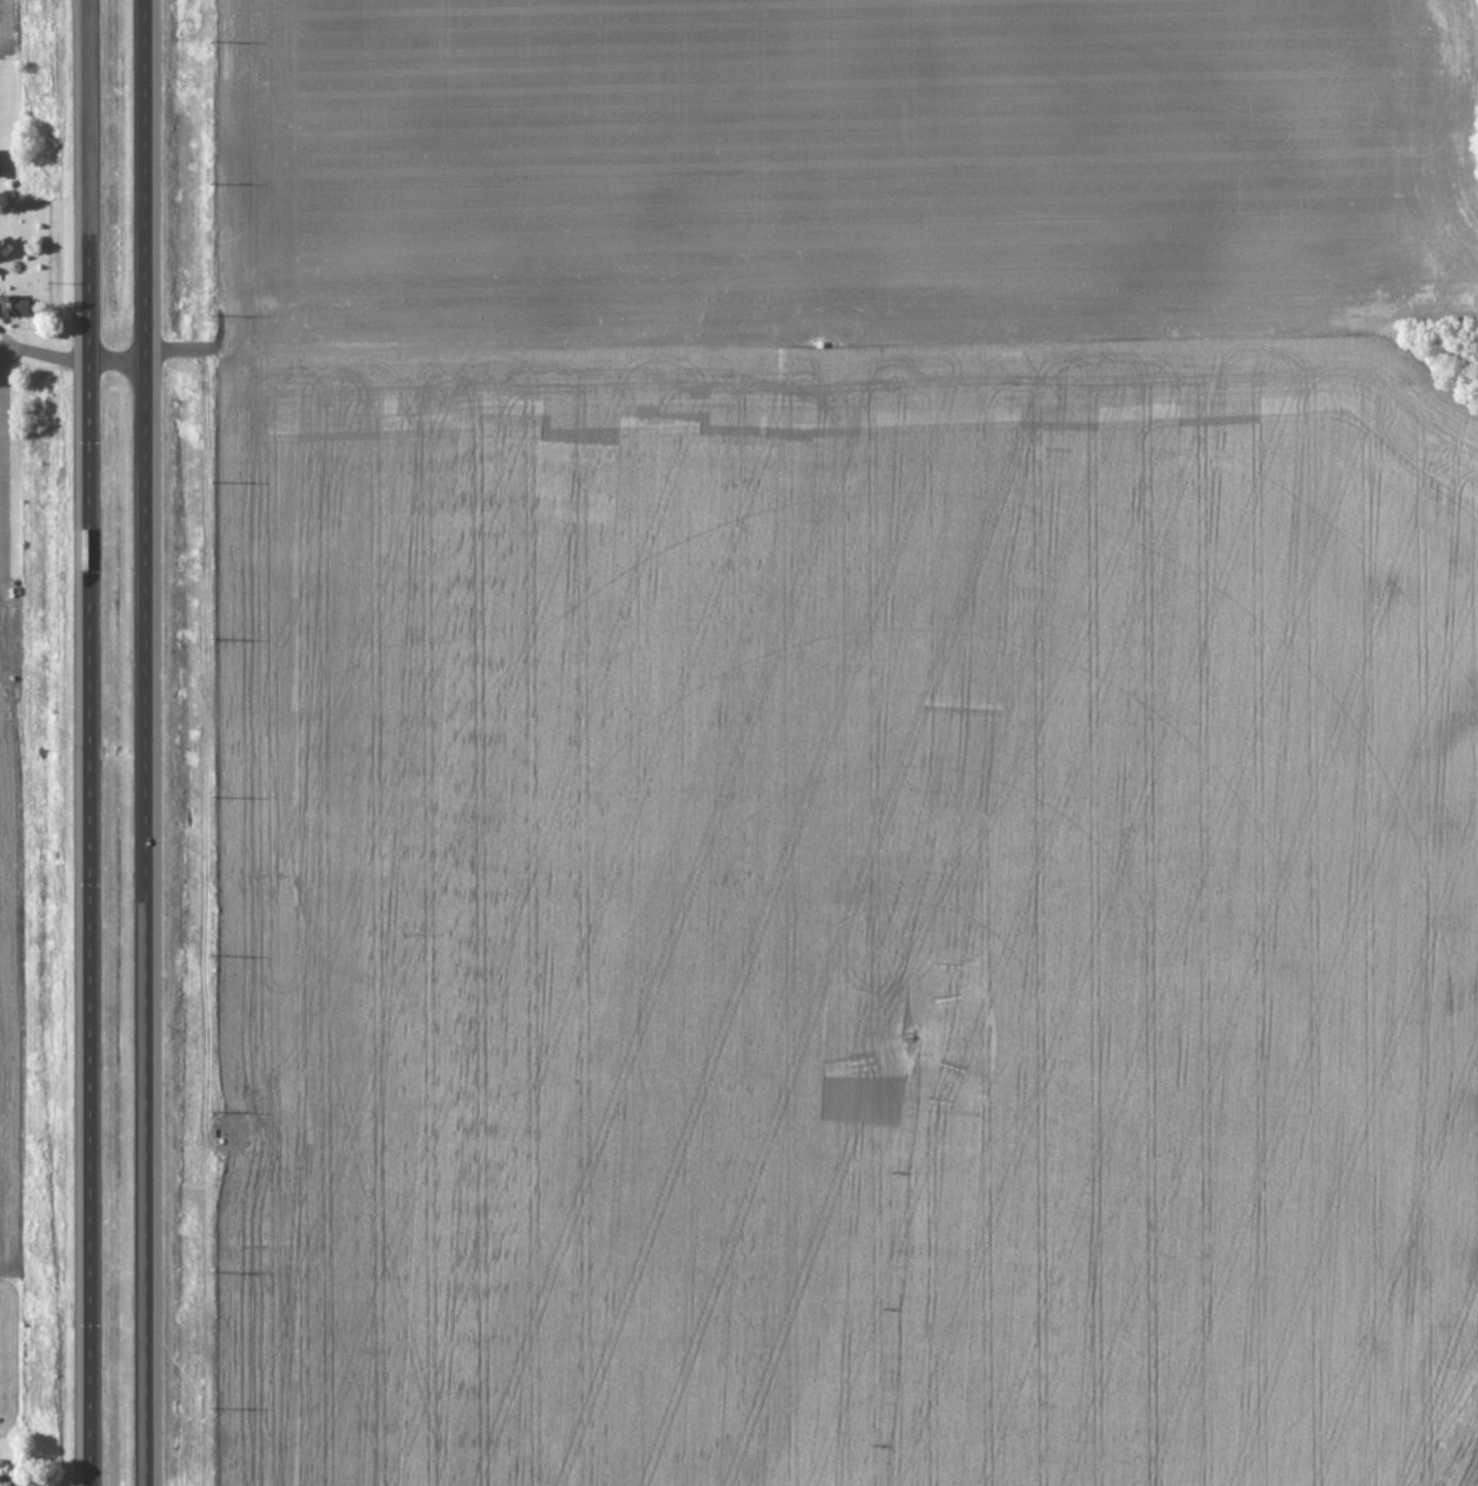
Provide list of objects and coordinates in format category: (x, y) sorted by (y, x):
building: (0, 166)
building: (14, 306)
road: (183, 348)
road: (44, 353)
road: (4, 464)
road: (90, 742)
road: (147, 742)
road: (28, 1480)

